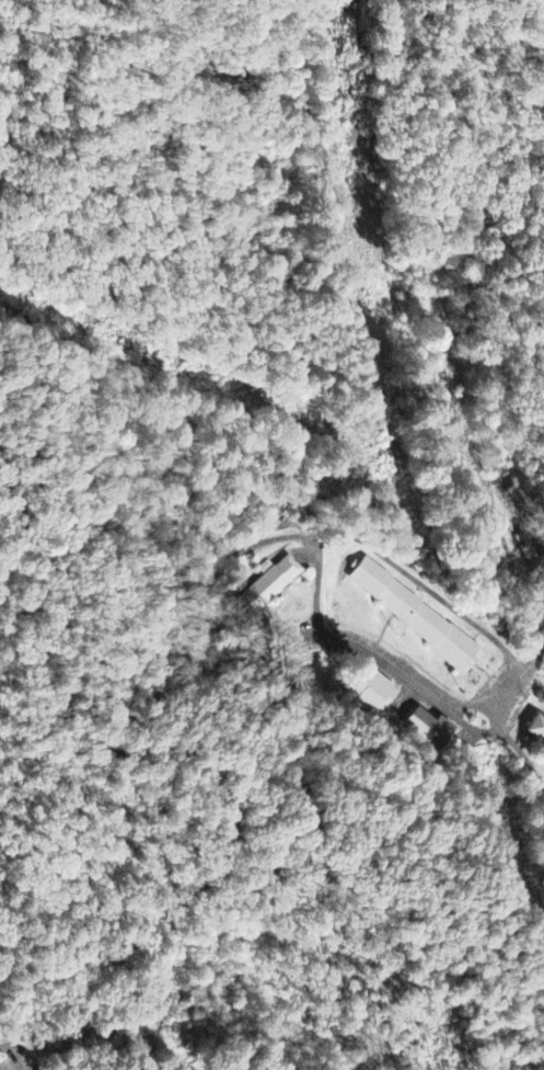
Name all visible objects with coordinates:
building: (519, 496)
building: (530, 545)
road: (424, 583)
building: (271, 584)
road: (525, 595)
building: (414, 612)
road: (400, 673)
building: (371, 692)
building: (429, 730)
building: (535, 731)
road: (111, 747)
road: (308, 823)
road: (5, 1050)
parking lot: (12, 1057)
road: (16, 1063)

